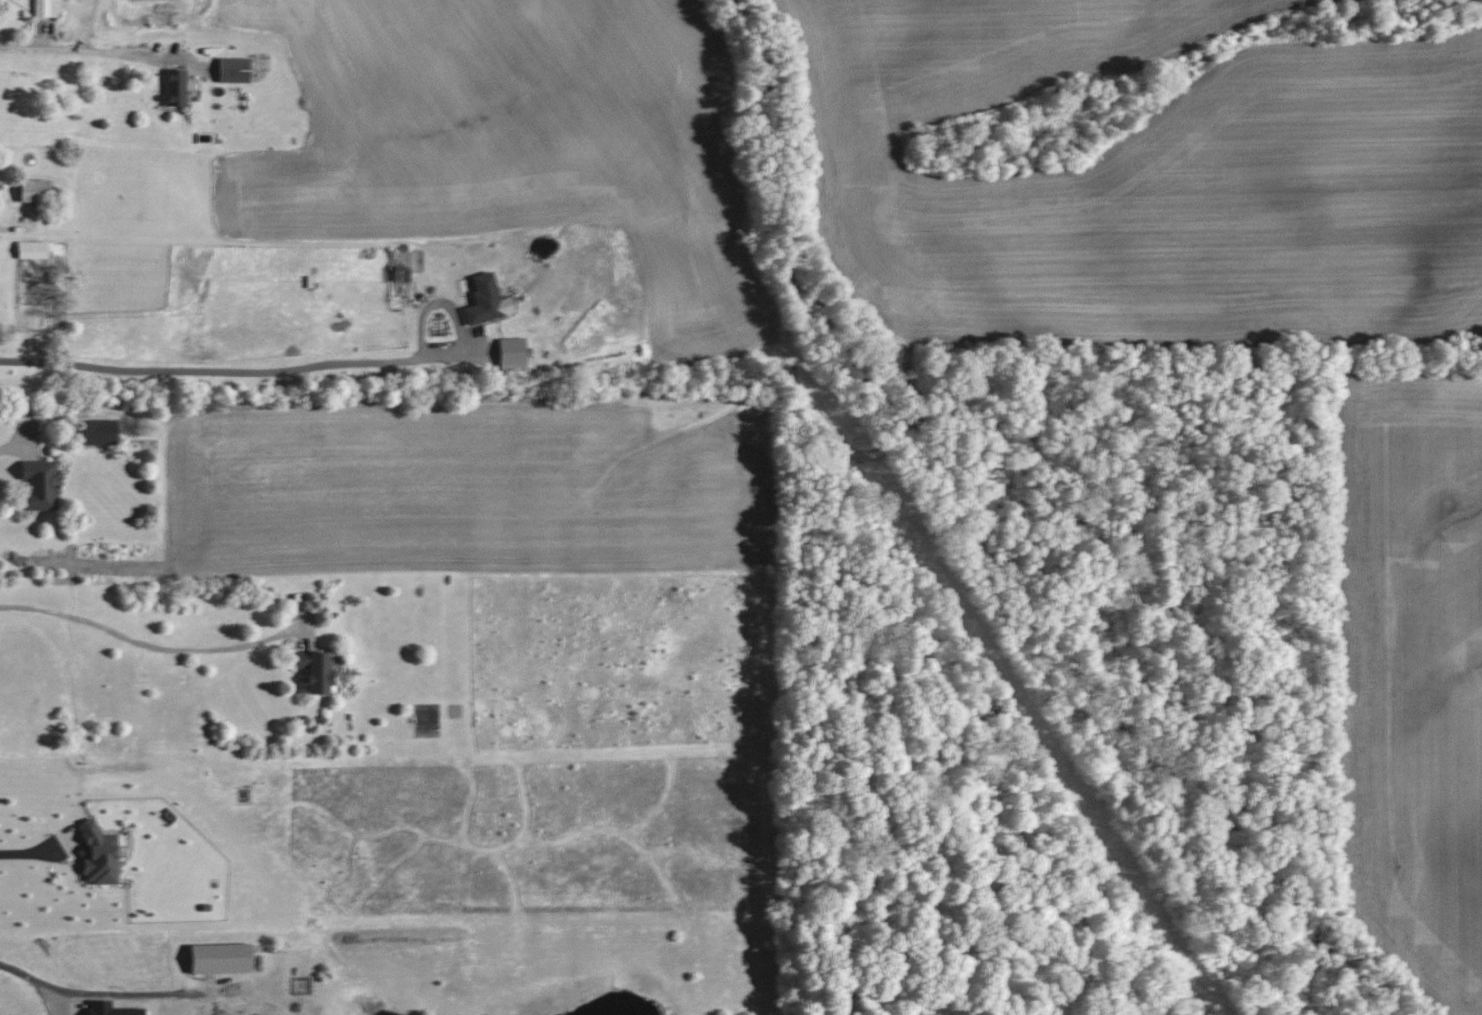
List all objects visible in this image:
building: (47, 8)
road: (85, 24)
road: (76, 49)
building: (234, 70)
building: (175, 87)
building: (32, 250)
building: (483, 299)
building: (512, 350)
road: (236, 368)
building: (99, 432)
road: (9, 447)
building: (41, 484)
road: (148, 644)
building: (315, 670)
road: (30, 853)
building: (99, 856)
building: (220, 958)
road: (102, 994)
road: (209, 1000)
building: (111, 1009)

